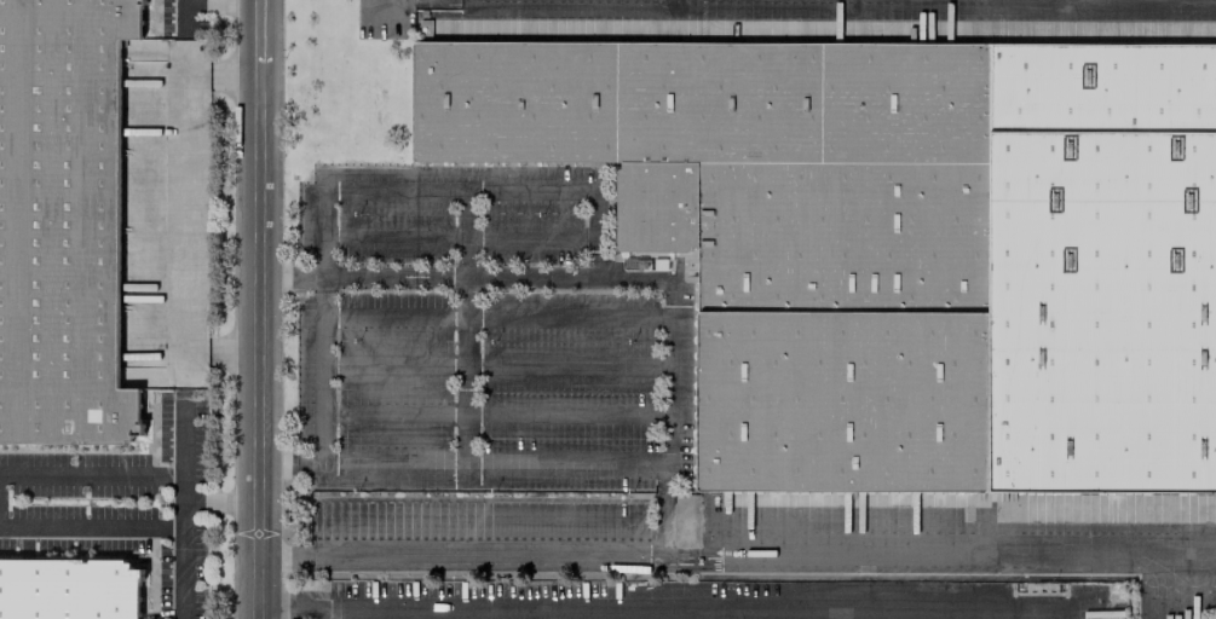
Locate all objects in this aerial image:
road: (218, 4)
road: (220, 75)
road: (460, 189)
building: (62, 221)
road: (184, 239)
building: (899, 244)
road: (604, 278)
road: (257, 309)
road: (219, 354)
road: (321, 366)
road: (462, 461)
road: (92, 476)
road: (220, 501)
road: (91, 525)
road: (181, 546)
road: (736, 554)
building: (68, 589)
road: (659, 611)

